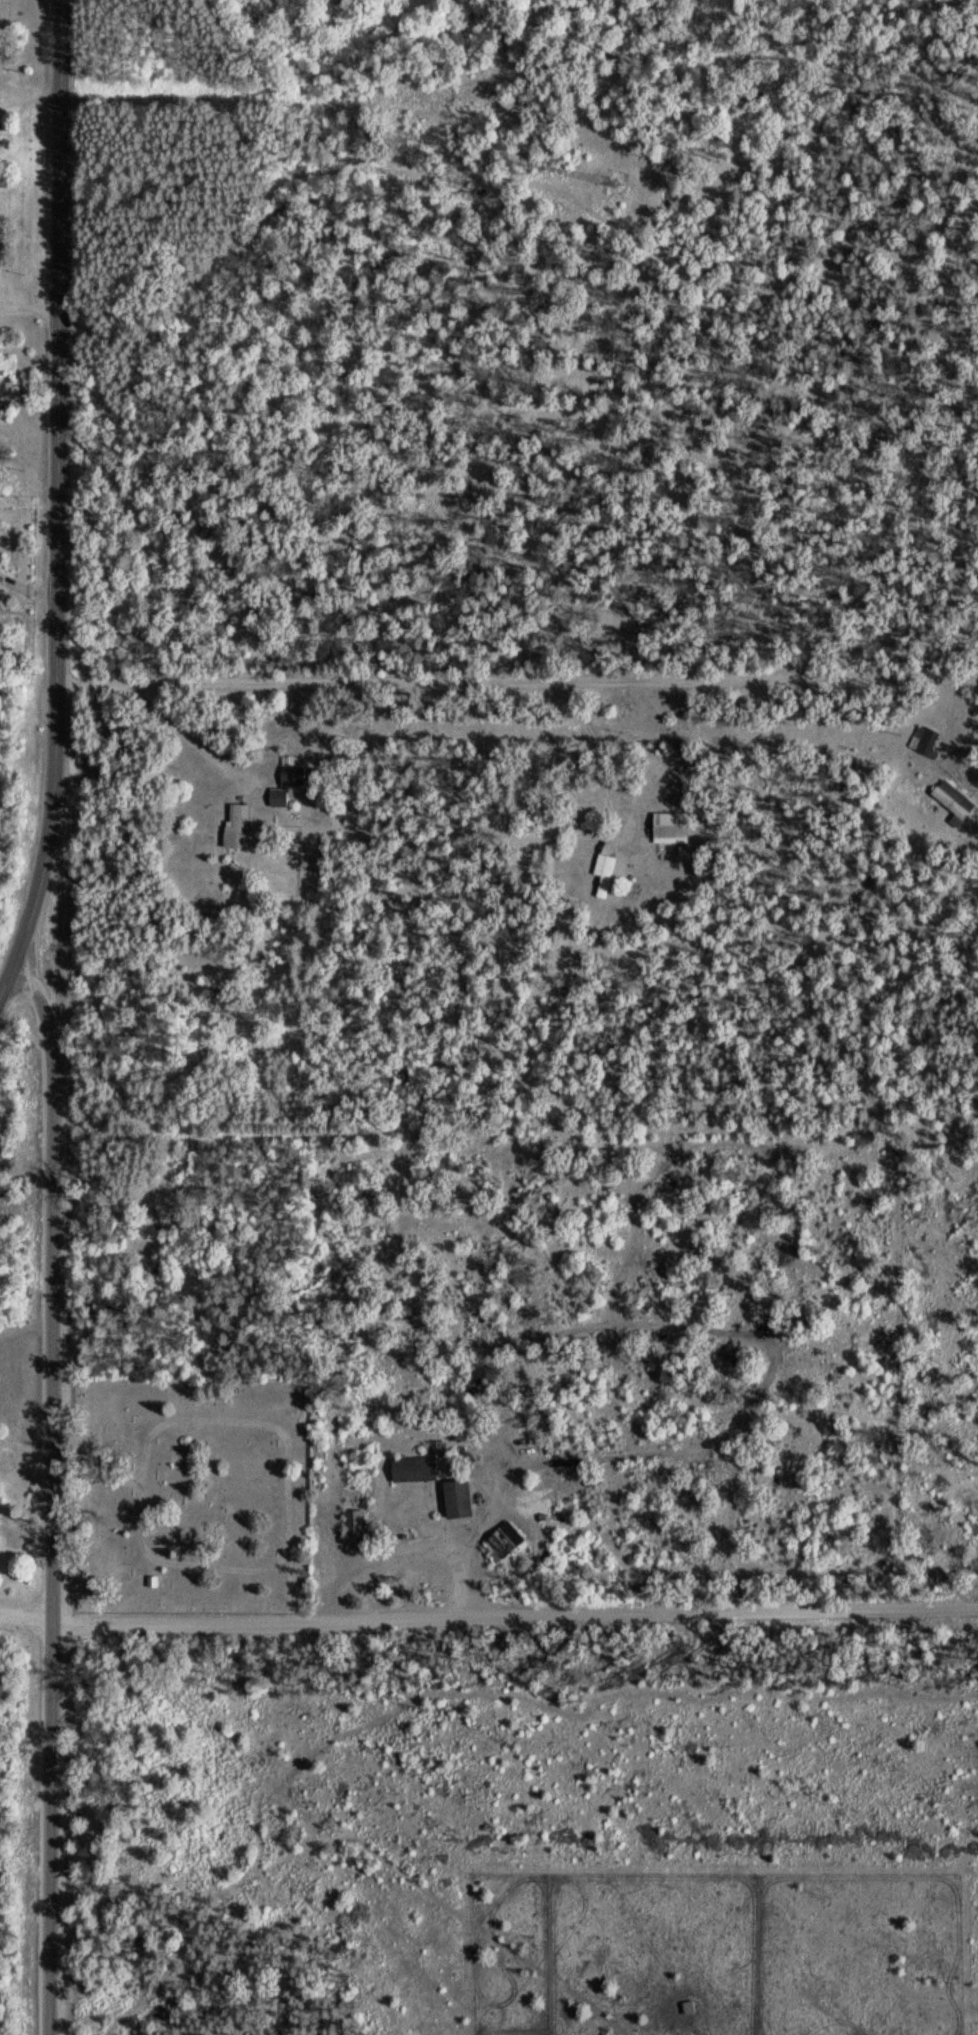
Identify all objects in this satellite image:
building: (3, 242)
road: (30, 309)
road: (57, 507)
road: (517, 680)
building: (924, 741)
building: (293, 775)
building: (276, 797)
building: (954, 802)
building: (235, 826)
building: (665, 827)
building: (601, 877)
building: (412, 1470)
park: (190, 1492)
road: (52, 1496)
building: (456, 1500)
building: (353, 1523)
building: (500, 1544)
building: (314, 1551)
road: (26, 1615)
road: (514, 1615)
road: (347, 1820)

